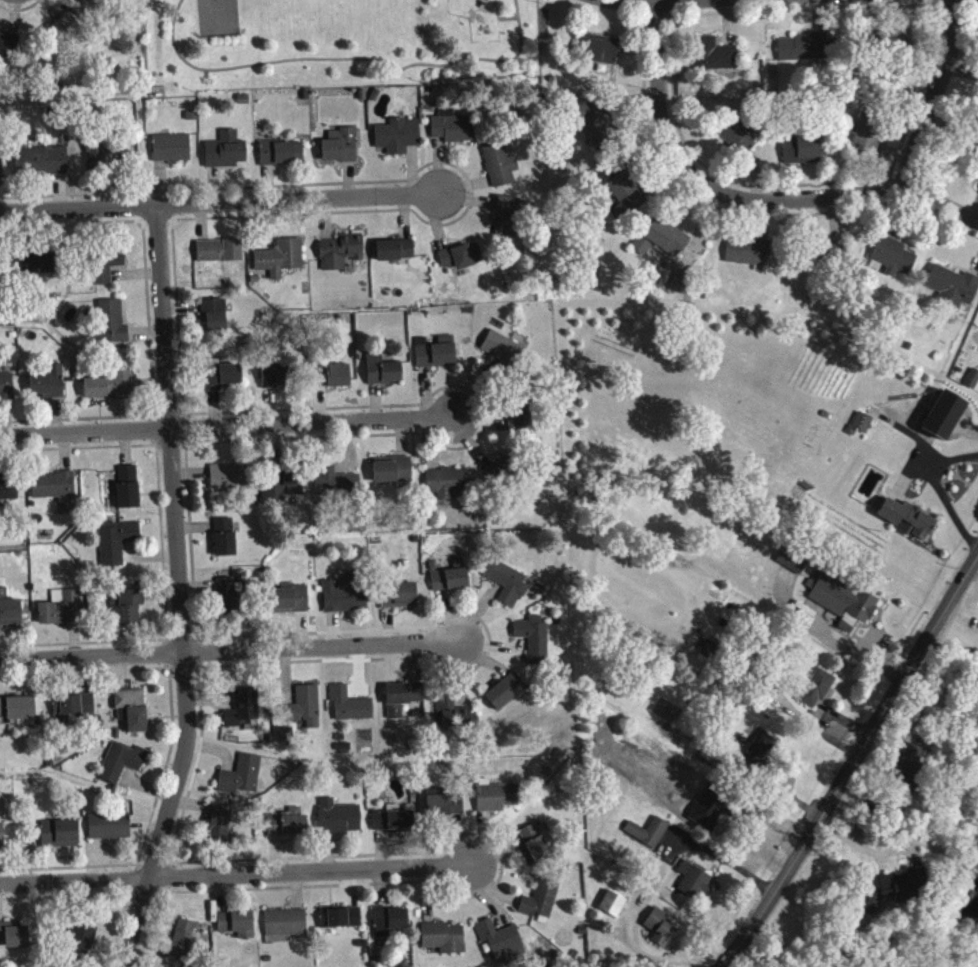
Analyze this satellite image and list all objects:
building: (87, 1)
road: (713, 5)
building: (64, 35)
park: (337, 43)
building: (8, 51)
building: (804, 53)
building: (600, 56)
road: (348, 57)
building: (715, 60)
road: (655, 96)
road: (927, 96)
building: (597, 126)
building: (453, 132)
building: (870, 140)
building: (398, 141)
building: (737, 143)
building: (341, 152)
building: (173, 153)
building: (803, 155)
building: (227, 156)
building: (283, 158)
building: (1, 165)
building: (42, 167)
building: (501, 170)
building: (977, 182)
road: (833, 199)
building: (625, 201)
road: (219, 208)
building: (508, 222)
building: (667, 243)
building: (396, 255)
building: (220, 256)
building: (341, 257)
building: (749, 257)
building: (462, 262)
building: (895, 262)
building: (281, 263)
building: (37, 269)
building: (106, 270)
building: (953, 292)
building: (216, 321)
building: (113, 327)
building: (503, 354)
building: (437, 358)
building: (383, 375)
building: (222, 380)
building: (274, 381)
building: (335, 382)
building: (49, 388)
building: (7, 391)
building: (110, 391)
building: (523, 421)
building: (945, 421)
road: (228, 429)
building: (862, 430)
building: (505, 474)
building: (393, 475)
building: (230, 482)
building: (337, 486)
building: (447, 488)
building: (284, 489)
building: (54, 492)
building: (129, 492)
building: (8, 495)
road: (942, 497)
building: (908, 524)
building: (226, 543)
building: (117, 547)
building: (793, 566)
building: (450, 585)
building: (508, 588)
road: (180, 593)
building: (346, 599)
building: (399, 601)
building: (229, 602)
building: (291, 604)
building: (843, 605)
building: (128, 607)
building: (62, 613)
building: (10, 615)
building: (535, 645)
road: (228, 654)
building: (711, 658)
building: (818, 694)
building: (506, 697)
building: (403, 703)
building: (351, 711)
building: (244, 713)
building: (74, 714)
building: (305, 714)
building: (19, 715)
building: (132, 715)
building: (453, 720)
building: (761, 755)
road: (852, 762)
building: (123, 768)
building: (911, 773)
building: (242, 781)
building: (497, 802)
building: (445, 809)
building: (339, 824)
building: (394, 827)
building: (220, 828)
building: (288, 829)
building: (110, 832)
building: (650, 837)
building: (61, 839)
building: (2, 842)
building: (535, 849)
road: (728, 862)
road: (234, 878)
building: (695, 886)
building: (898, 892)
building: (542, 905)
building: (614, 910)
building: (341, 923)
building: (390, 926)
building: (286, 929)
building: (237, 930)
building: (661, 933)
building: (14, 940)
building: (445, 943)
building: (184, 945)
building: (82, 947)
building: (503, 947)

